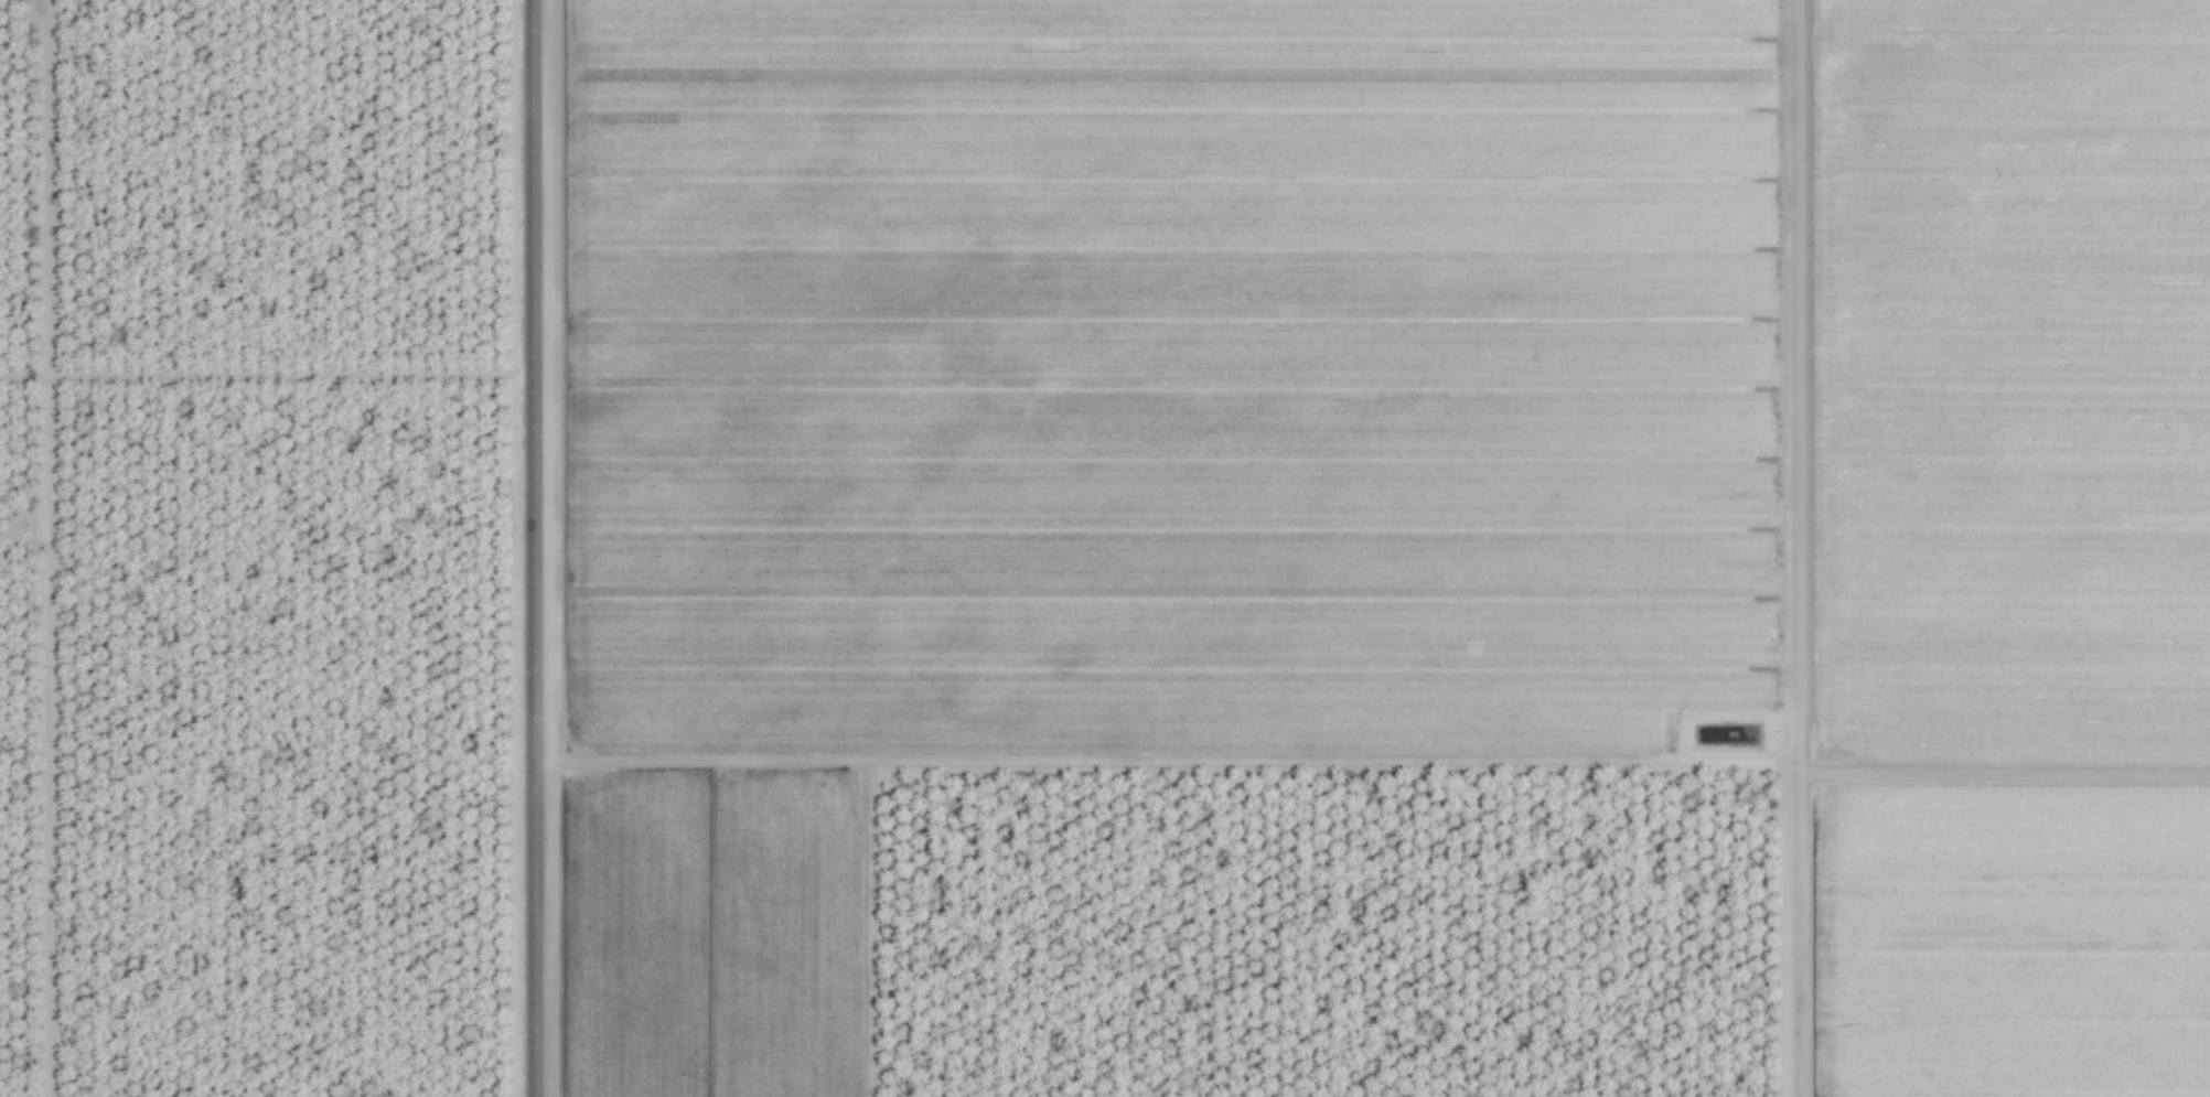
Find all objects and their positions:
road: (532, 548)
crop: (1105, 548)

